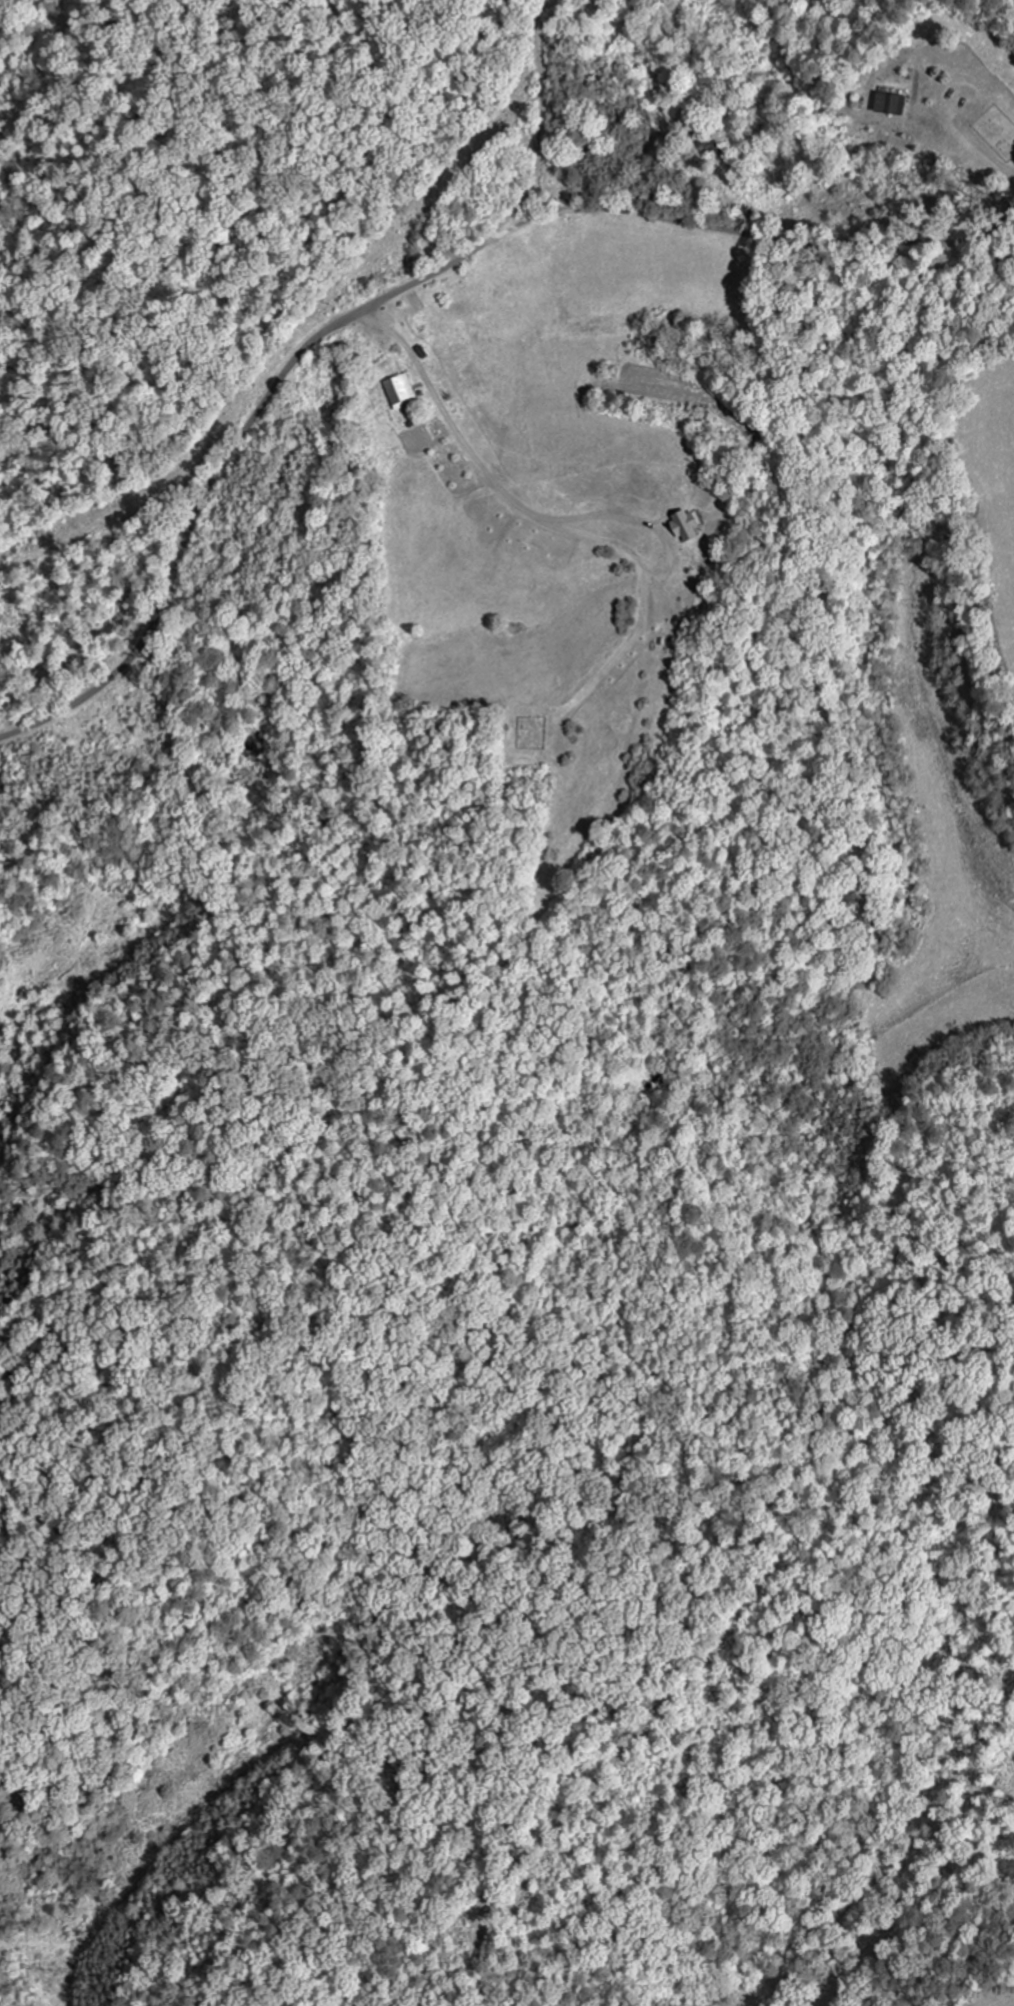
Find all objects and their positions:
building: (880, 103)
road: (288, 362)
building: (398, 392)

